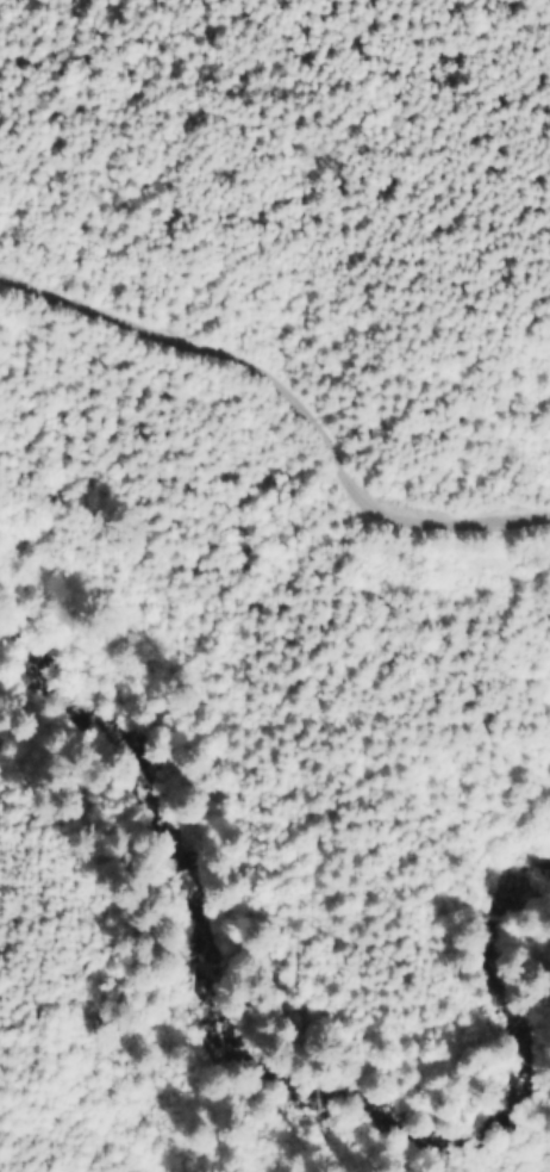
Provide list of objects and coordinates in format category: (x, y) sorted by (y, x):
road: (301, 379)

